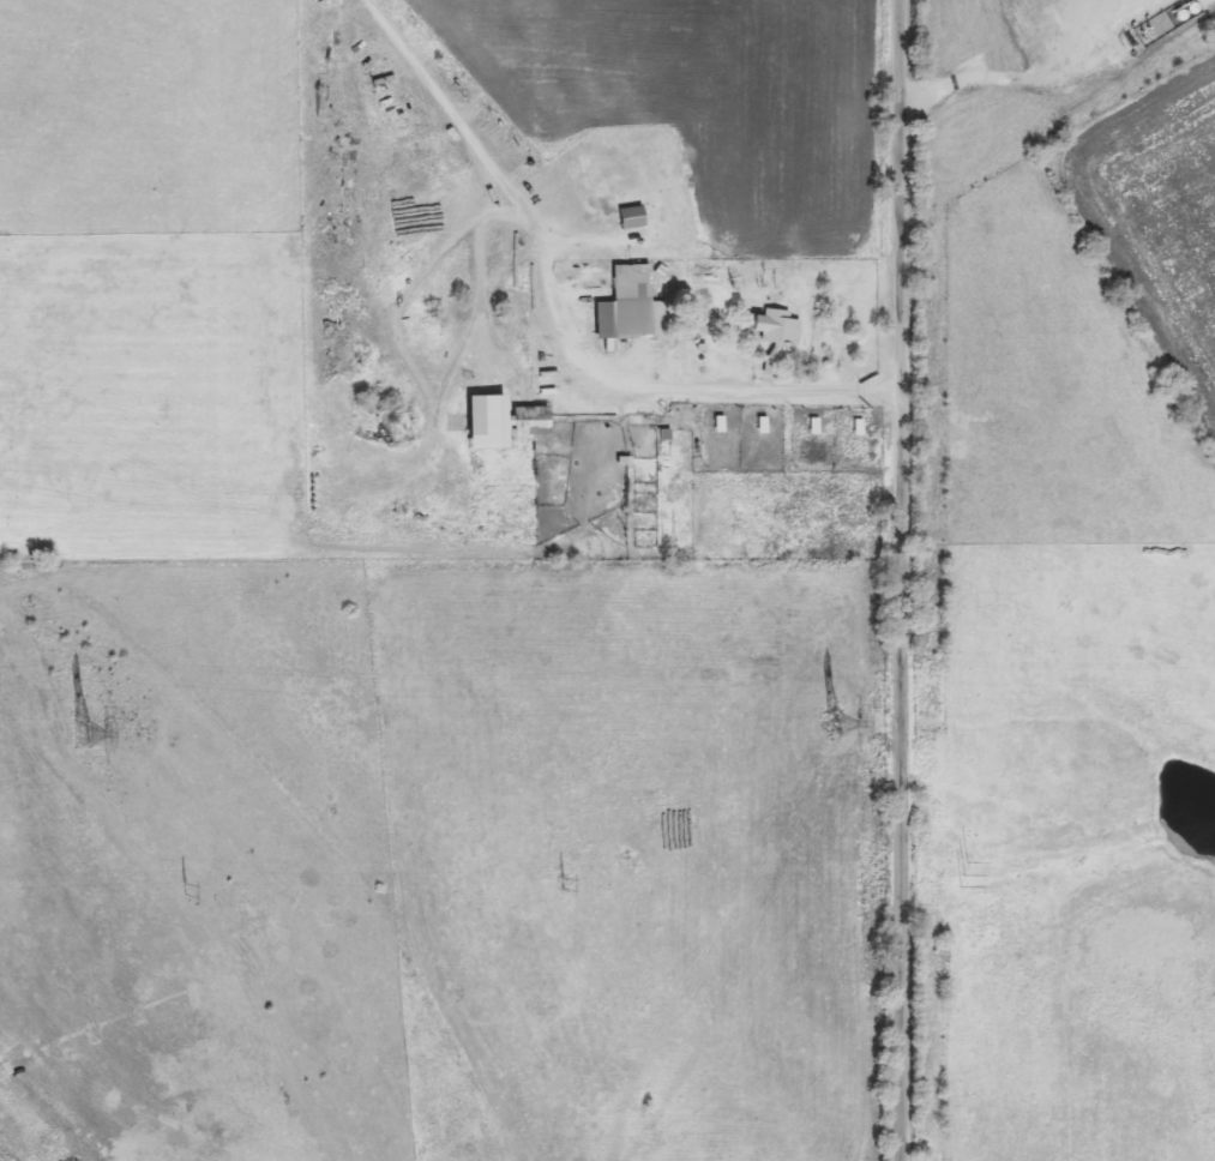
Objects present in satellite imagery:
building: (1191, 7)
road: (1004, 78)
building: (621, 306)
road: (558, 317)
building: (657, 320)
building: (771, 336)
building: (481, 423)
road: (906, 579)
power tower: (829, 723)
power tower: (77, 735)

